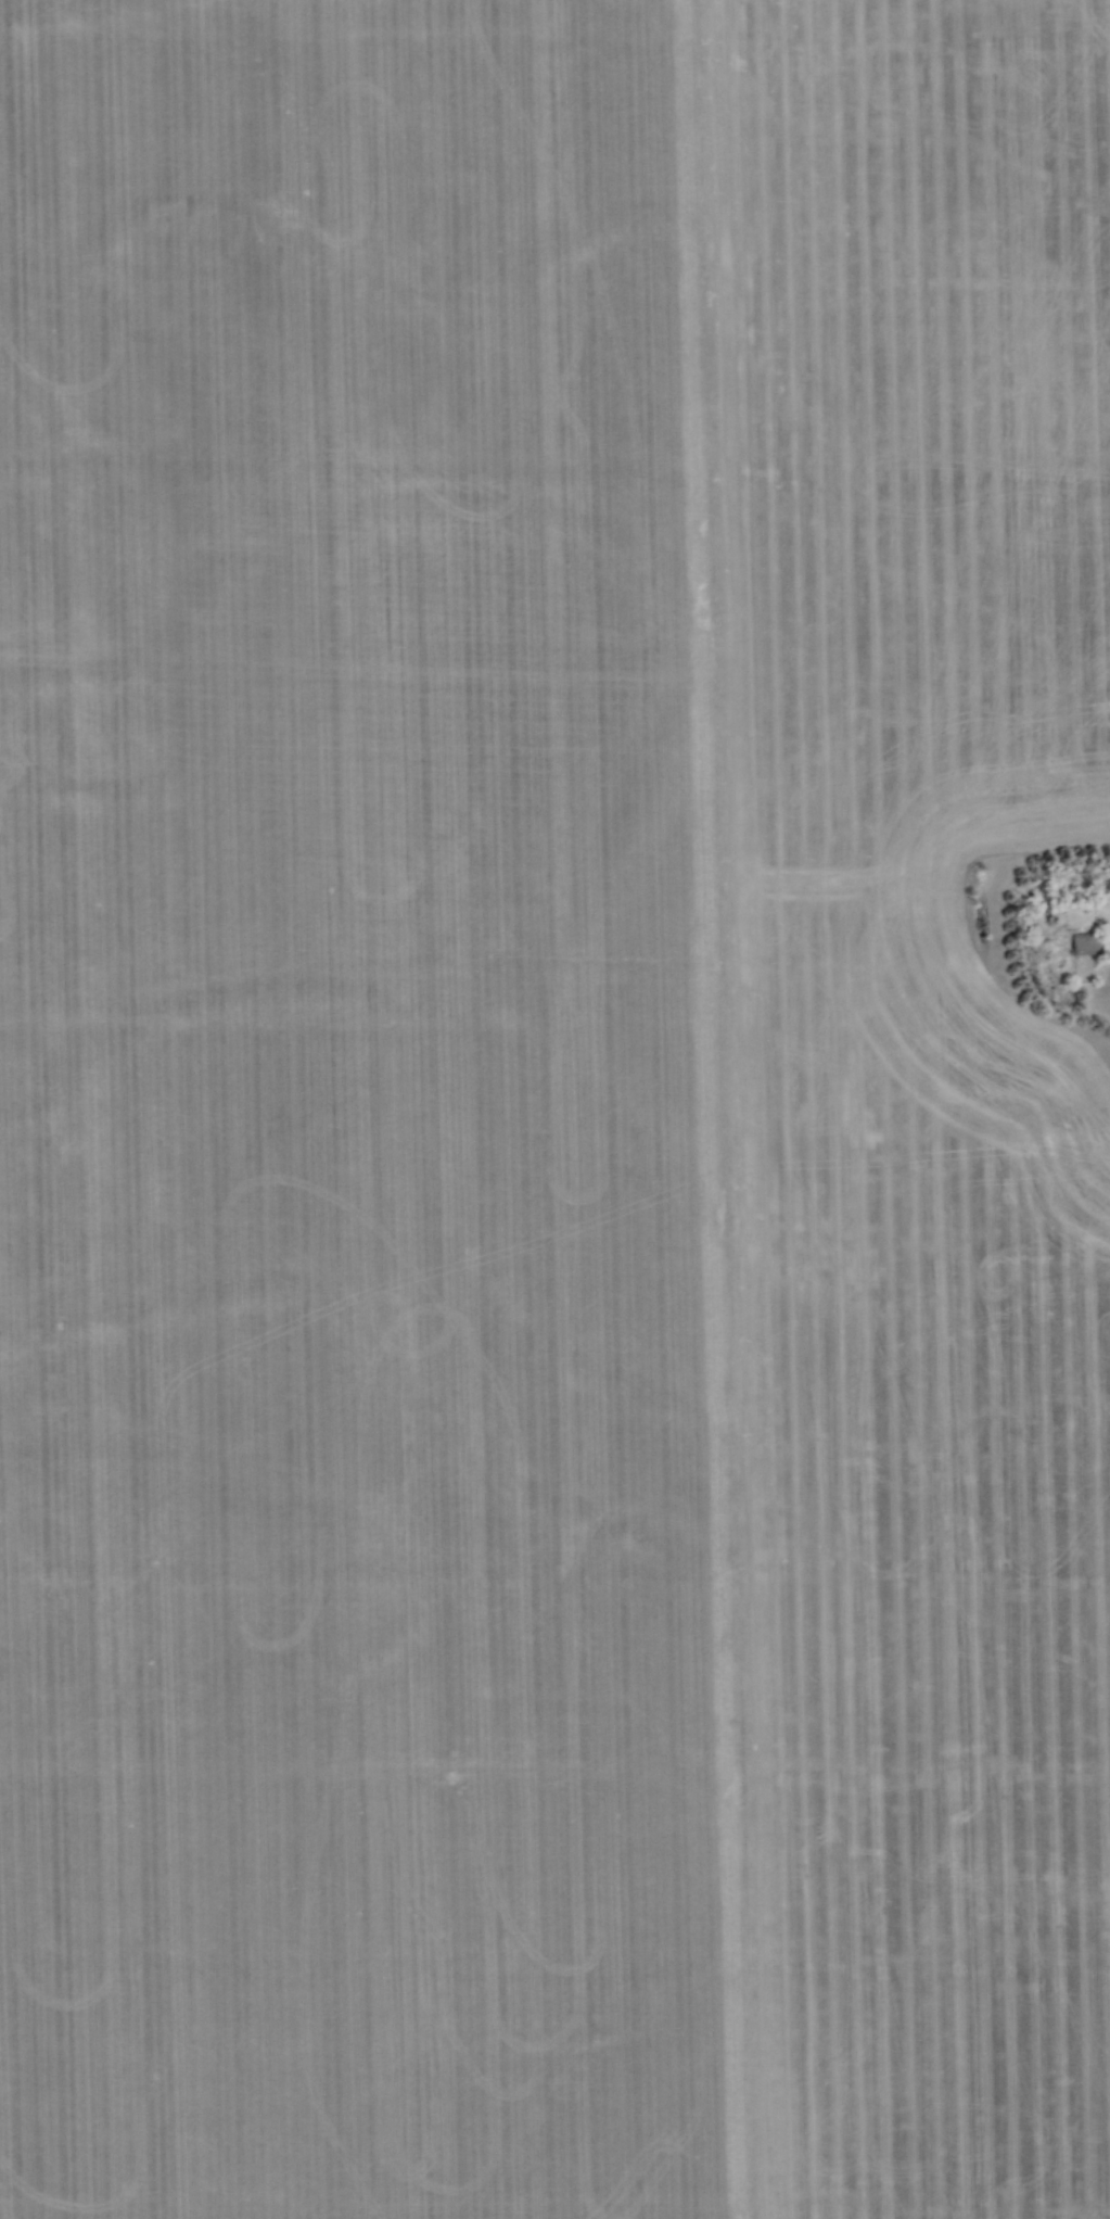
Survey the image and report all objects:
building: (1084, 940)
crop: (550, 1111)

